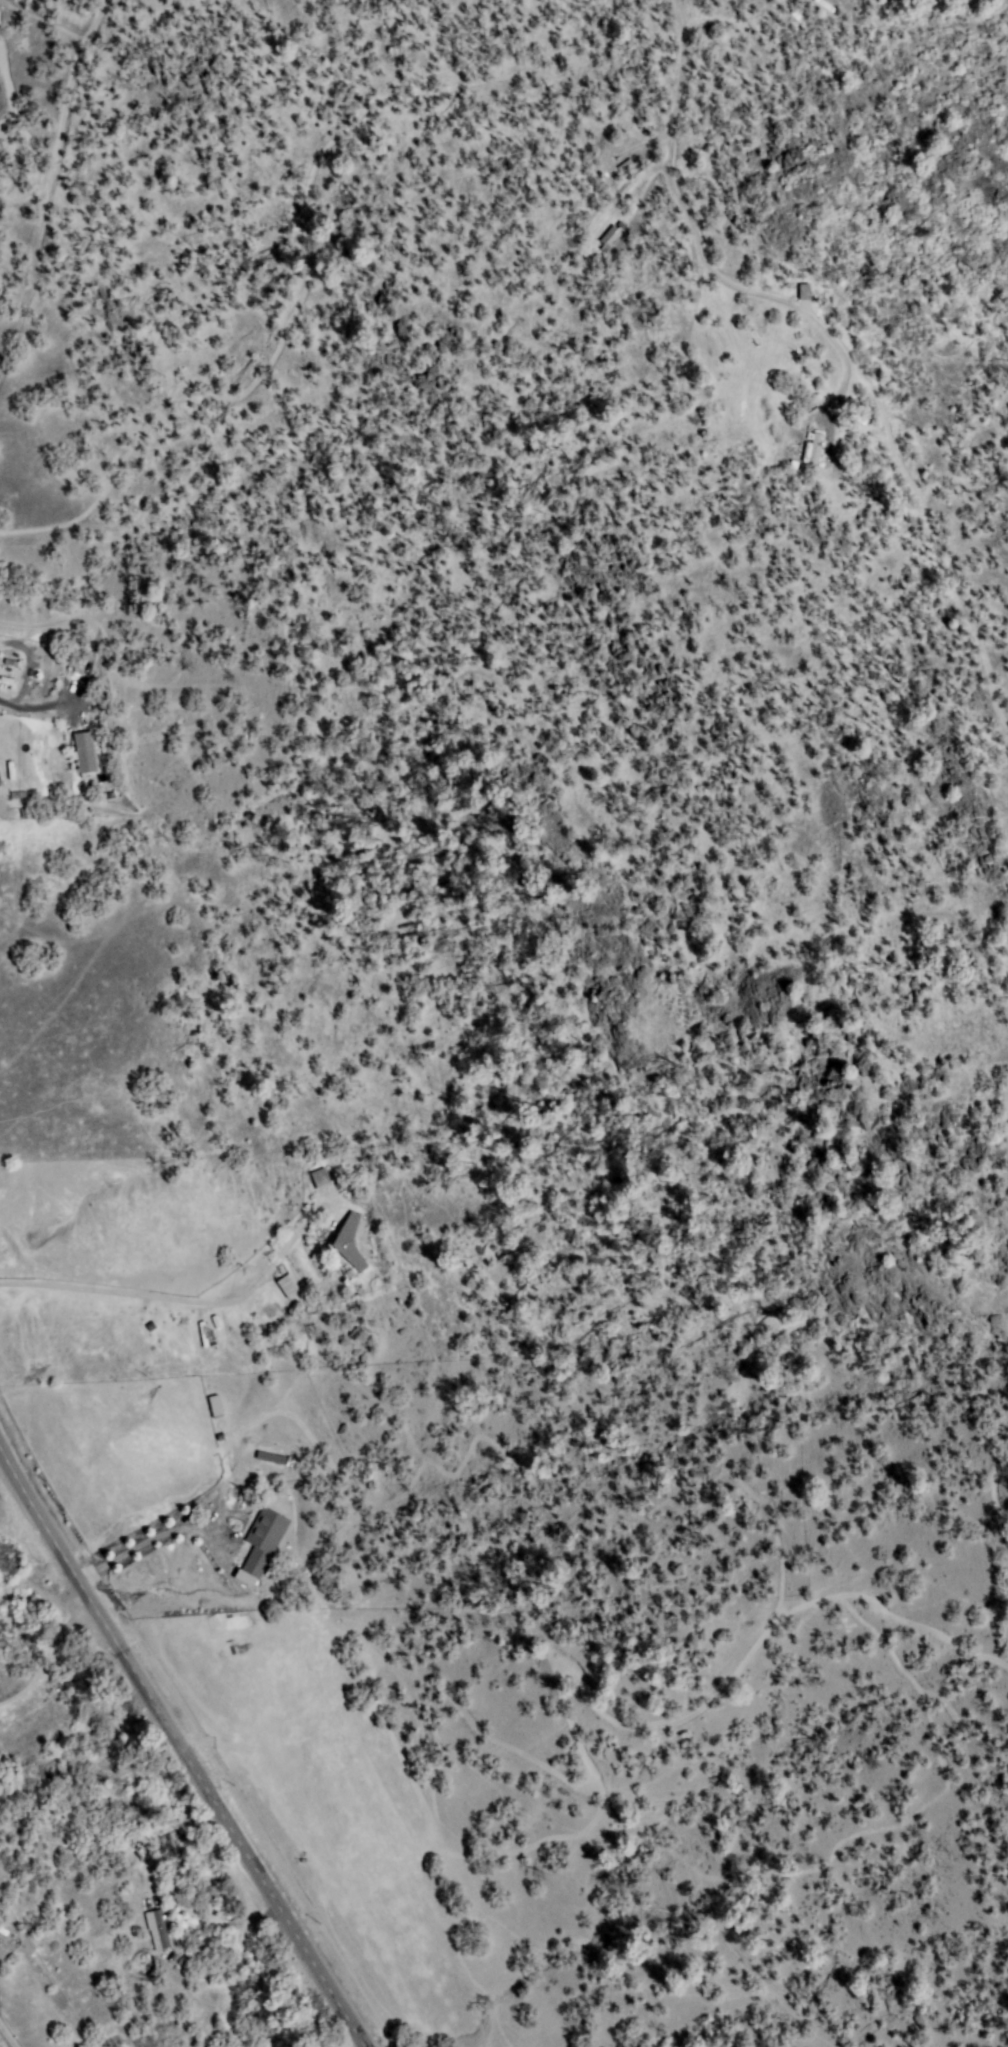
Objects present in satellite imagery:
building: (825, 5)
building: (795, 15)
building: (625, 166)
building: (611, 238)
building: (858, 418)
building: (816, 450)
building: (808, 453)
building: (86, 753)
building: (321, 1179)
building: (350, 1245)
building: (292, 1284)
building: (215, 1405)
building: (220, 1438)
building: (271, 1458)
building: (262, 1542)
road: (183, 1747)
building: (141, 1838)
building: (158, 1930)
building: (3, 1931)

